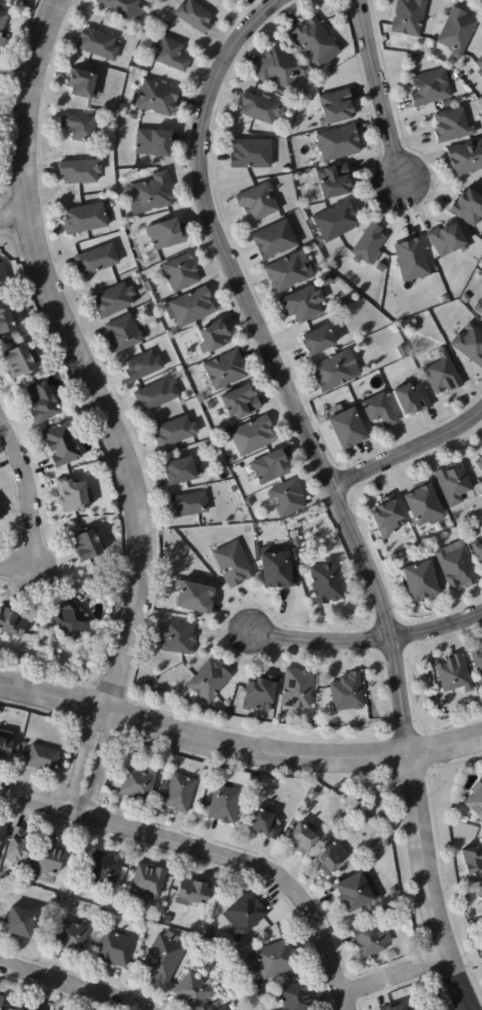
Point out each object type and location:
building: (120, 7)
building: (195, 17)
building: (410, 17)
building: (2, 22)
building: (458, 33)
building: (317, 44)
building: (98, 45)
building: (172, 56)
building: (311, 63)
building: (480, 64)
building: (280, 70)
building: (481, 74)
building: (83, 86)
building: (430, 89)
road: (383, 90)
building: (280, 91)
building: (156, 99)
building: (447, 104)
building: (336, 108)
building: (261, 110)
building: (135, 117)
building: (452, 126)
building: (80, 128)
building: (154, 144)
building: (340, 144)
building: (252, 155)
building: (466, 159)
building: (286, 171)
building: (80, 172)
building: (334, 183)
building: (151, 195)
building: (258, 203)
building: (468, 209)
road: (13, 217)
building: (85, 220)
building: (336, 222)
building: (127, 226)
building: (166, 236)
building: (275, 241)
building: (447, 241)
building: (369, 246)
building: (471, 260)
building: (97, 261)
building: (412, 261)
building: (380, 268)
building: (182, 273)
building: (288, 274)
building: (4, 278)
building: (327, 283)
building: (150, 285)
building: (444, 300)
building: (466, 300)
building: (114, 302)
building: (305, 306)
building: (478, 308)
building: (189, 309)
building: (146, 310)
building: (5, 321)
building: (407, 327)
building: (124, 335)
building: (215, 339)
building: (318, 343)
building: (470, 345)
building: (403, 352)
road: (82, 354)
building: (18, 364)
road: (276, 367)
building: (144, 368)
building: (226, 372)
building: (336, 373)
building: (443, 377)
building: (157, 396)
building: (190, 397)
building: (413, 399)
building: (241, 403)
building: (42, 406)
building: (380, 412)
building: (349, 432)
building: (175, 433)
building: (254, 437)
building: (62, 446)
building: (211, 447)
building: (481, 448)
road: (409, 451)
building: (231, 463)
building: (479, 464)
building: (271, 468)
building: (238, 470)
building: (181, 473)
building: (453, 486)
building: (234, 490)
building: (72, 496)
building: (288, 500)
building: (250, 504)
building: (190, 506)
building: (425, 509)
road: (31, 512)
building: (0, 518)
building: (389, 519)
building: (0, 520)
building: (256, 527)
building: (481, 536)
building: (296, 541)
building: (88, 546)
building: (408, 547)
building: (478, 552)
building: (232, 567)
building: (458, 570)
building: (277, 572)
building: (422, 584)
building: (327, 585)
building: (195, 599)
building: (71, 622)
building: (13, 625)
building: (178, 639)
road: (367, 640)
building: (478, 662)
building: (454, 676)
building: (209, 684)
building: (296, 691)
building: (244, 693)
building: (348, 694)
building: (260, 697)
building: (48, 739)
building: (5, 750)
road: (238, 750)
road: (81, 758)
building: (43, 759)
road: (98, 761)
building: (253, 779)
building: (139, 785)
building: (316, 793)
building: (180, 794)
building: (475, 802)
building: (225, 804)
building: (278, 821)
building: (264, 825)
building: (2, 831)
building: (304, 840)
building: (384, 843)
building: (0, 845)
building: (15, 849)
road: (205, 851)
building: (331, 857)
building: (49, 858)
building: (473, 861)
building: (104, 869)
building: (2, 874)
building: (0, 882)
building: (147, 884)
road: (427, 886)
building: (393, 891)
building: (479, 891)
building: (193, 892)
building: (354, 893)
building: (476, 913)
building: (390, 914)
building: (246, 915)
building: (167, 920)
building: (134, 922)
building: (21, 924)
building: (386, 926)
building: (212, 934)
building: (72, 937)
building: (370, 940)
building: (116, 950)
building: (164, 958)
building: (274, 961)
road: (395, 979)
road: (73, 985)
building: (258, 986)
building: (194, 991)
building: (297, 998)
building: (1, 1002)
road: (345, 1003)
building: (394, 1007)
building: (22, 1008)
building: (224, 1008)
building: (230, 1008)
building: (39, 1009)

